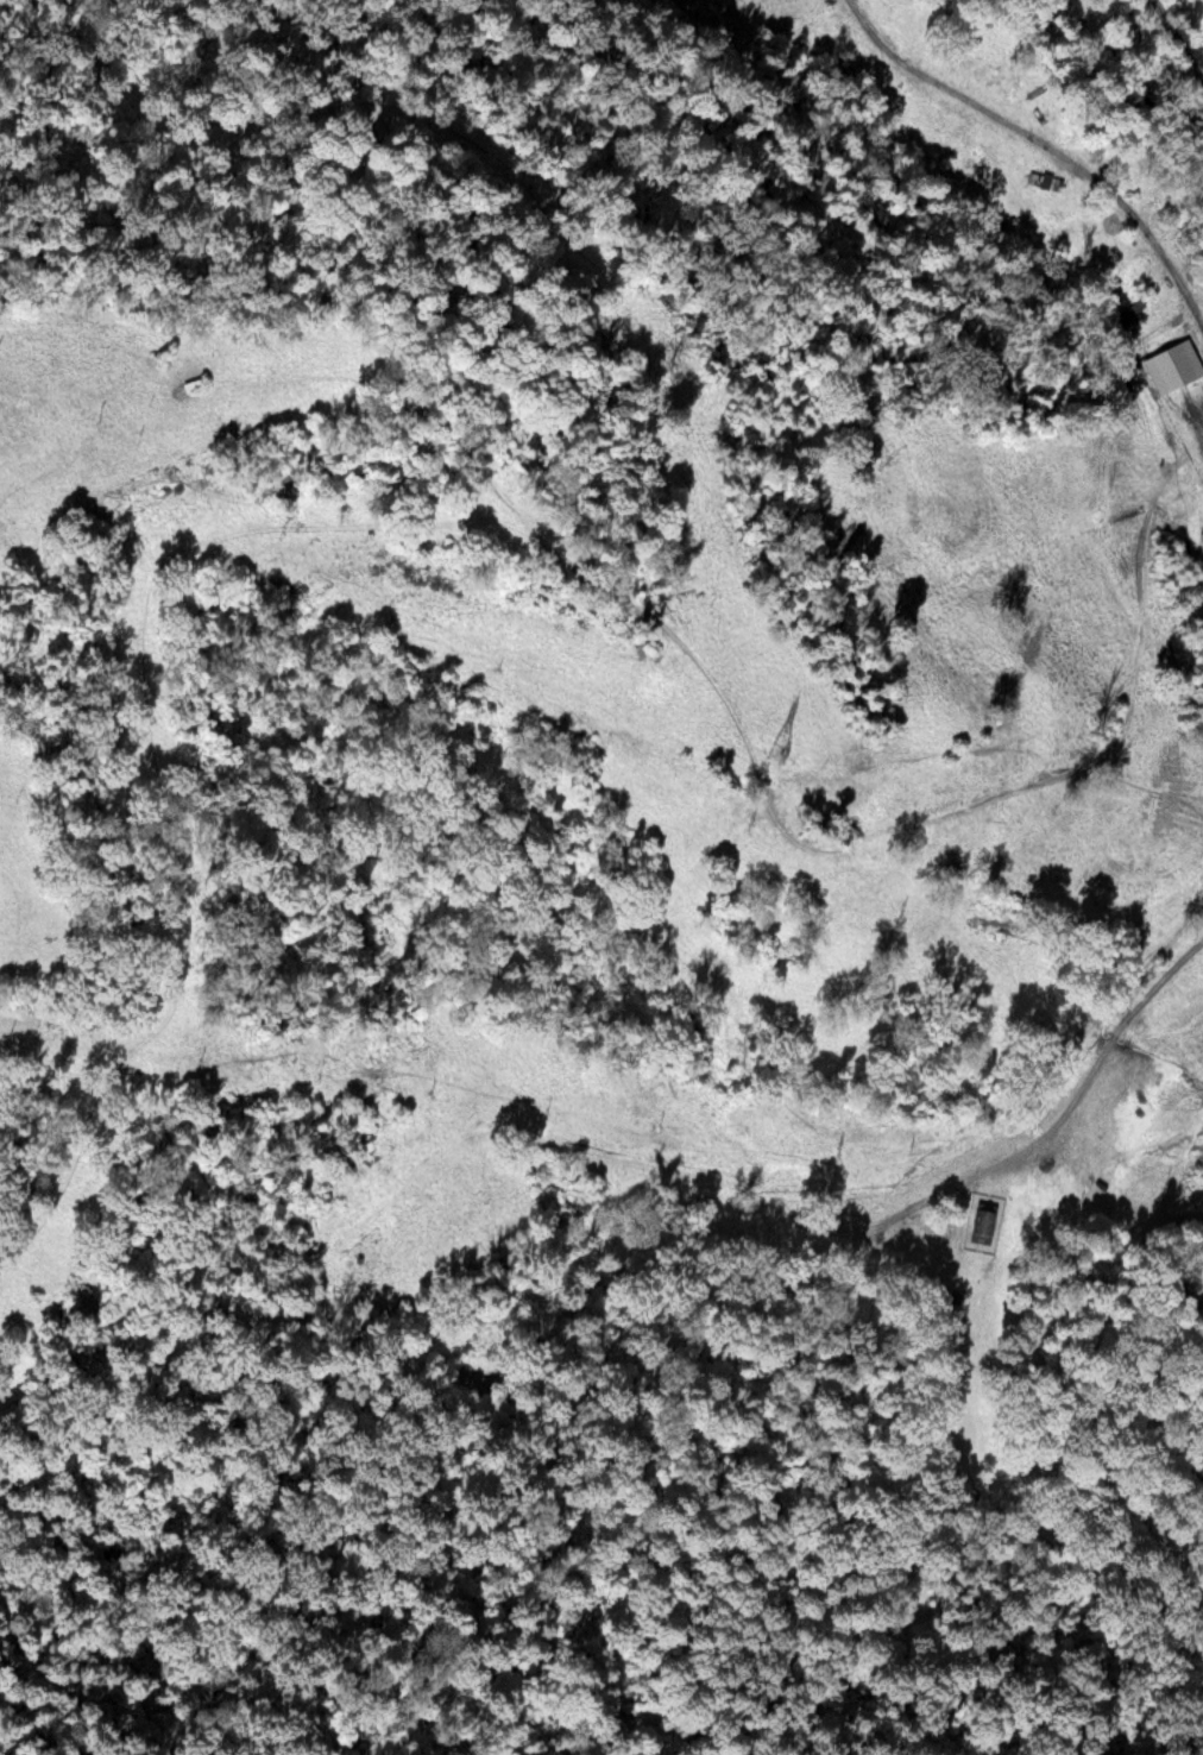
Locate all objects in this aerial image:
road: (1191, 19)
building: (1171, 364)
building: (191, 383)
building: (982, 1221)

